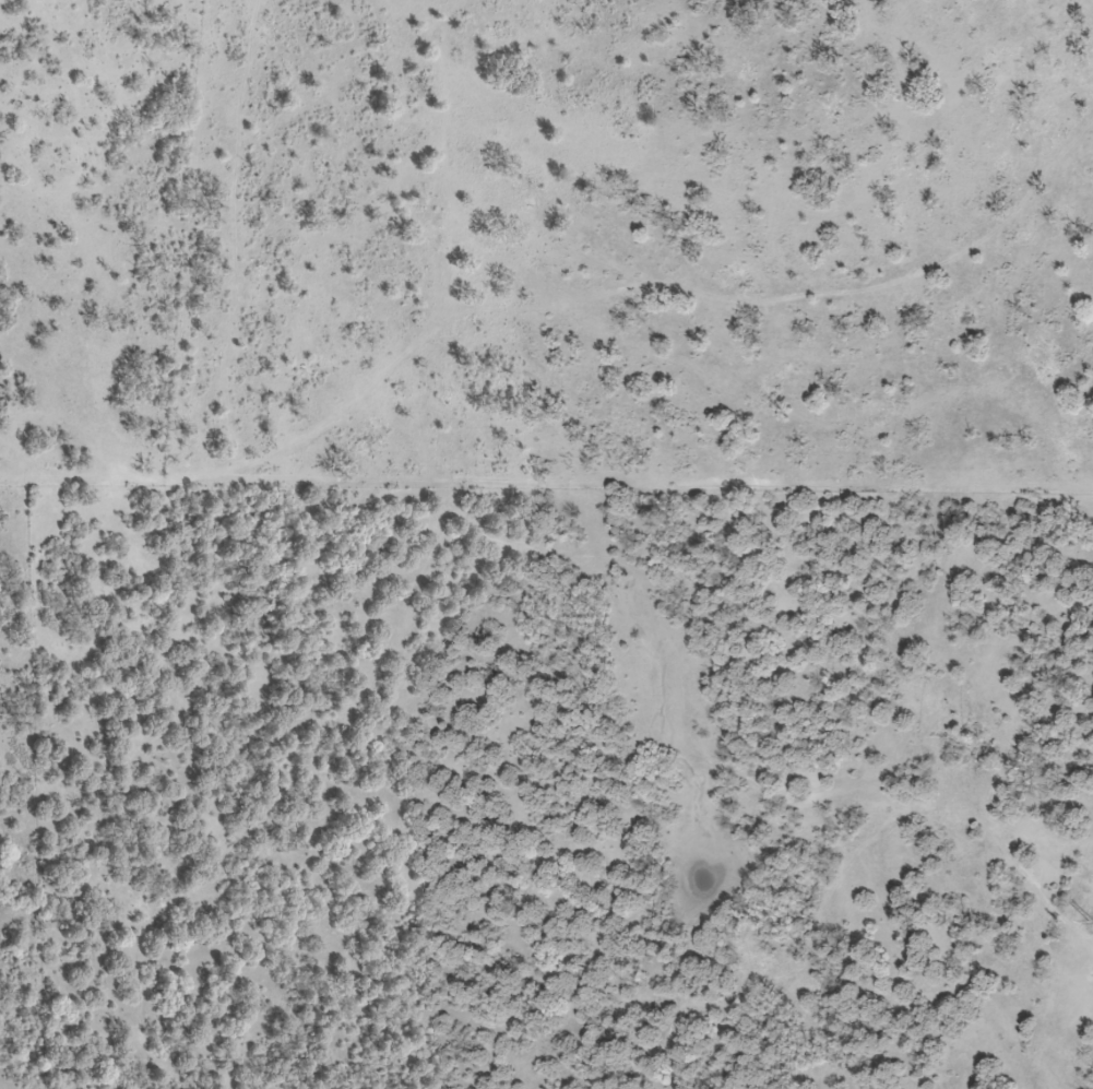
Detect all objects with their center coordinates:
power tower: (1092, 920)

